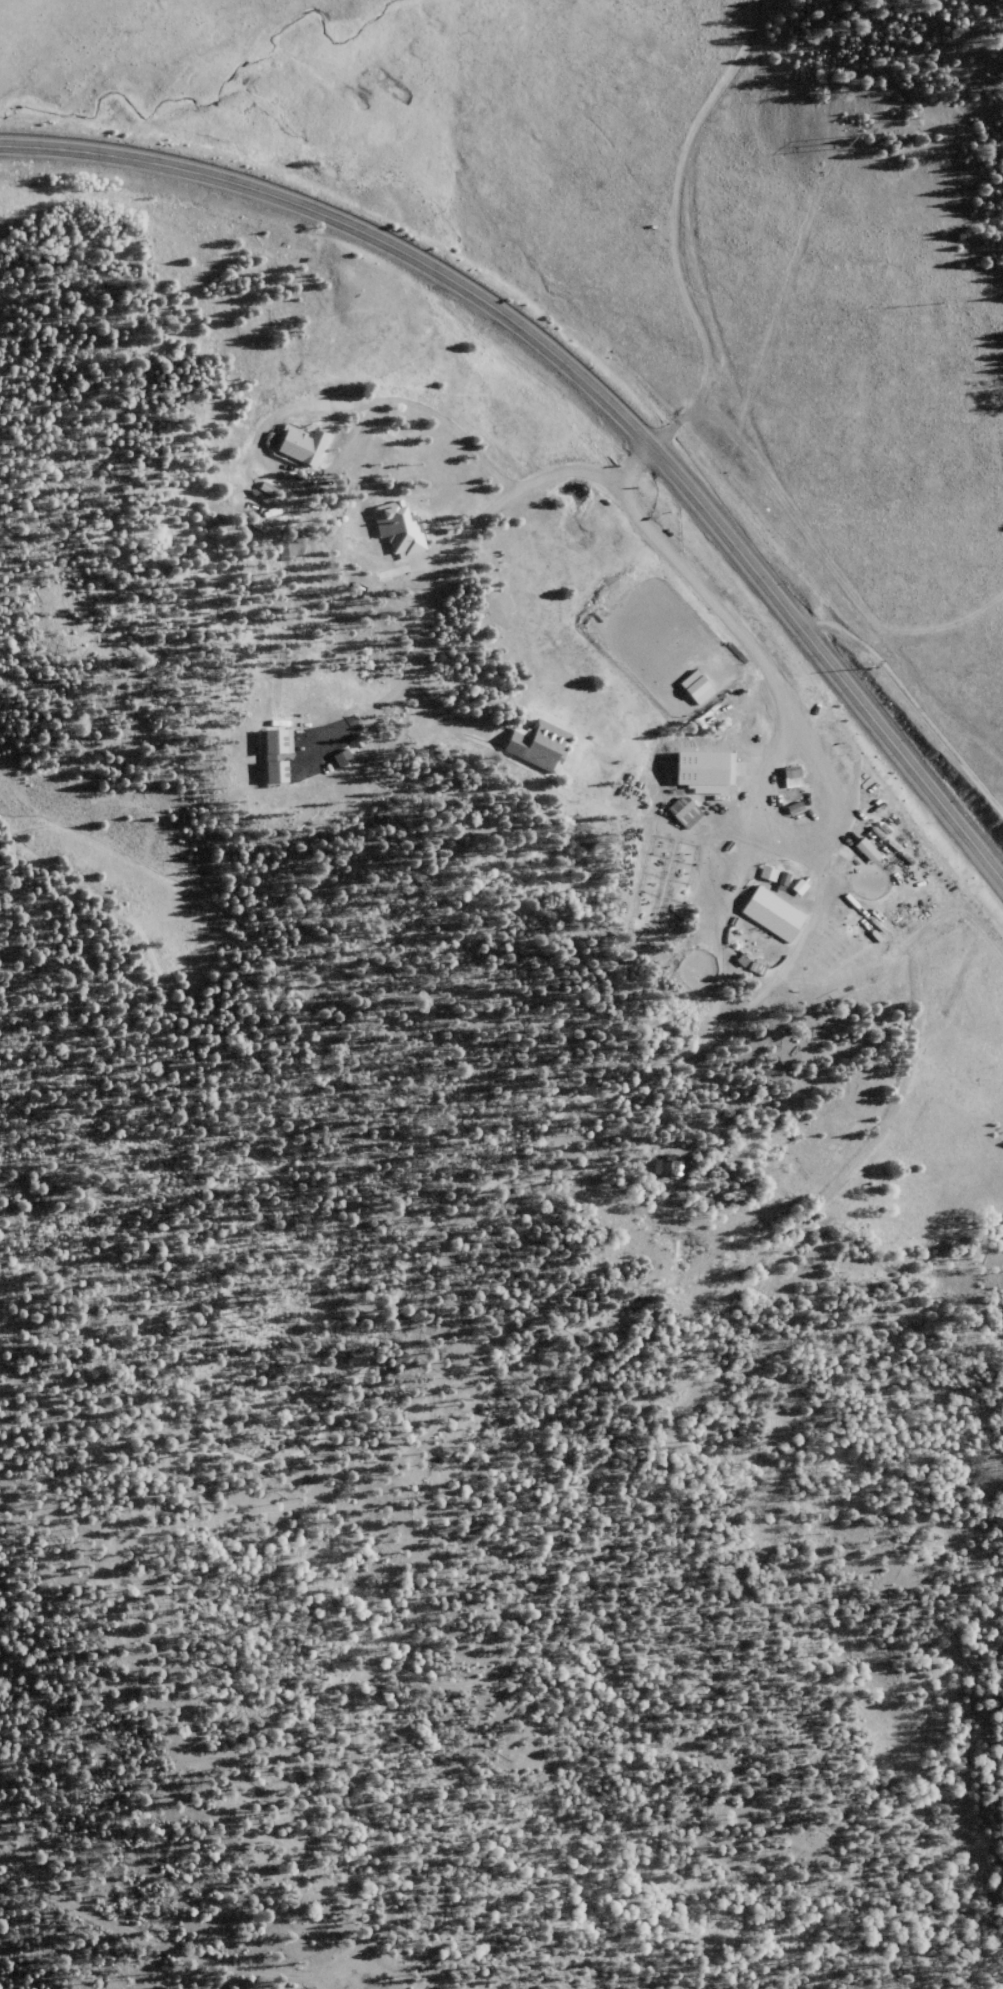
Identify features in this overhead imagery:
road: (759, 366)
road: (587, 386)
building: (306, 445)
road: (763, 496)
building: (400, 526)
building: (541, 744)
building: (345, 757)
building: (280, 771)
building: (794, 776)
building: (687, 811)
building: (869, 850)
building: (769, 872)
building: (775, 913)
road: (284, 933)
road: (978, 985)
road: (495, 1078)
road: (139, 1109)
building: (672, 1168)
road: (232, 1965)

